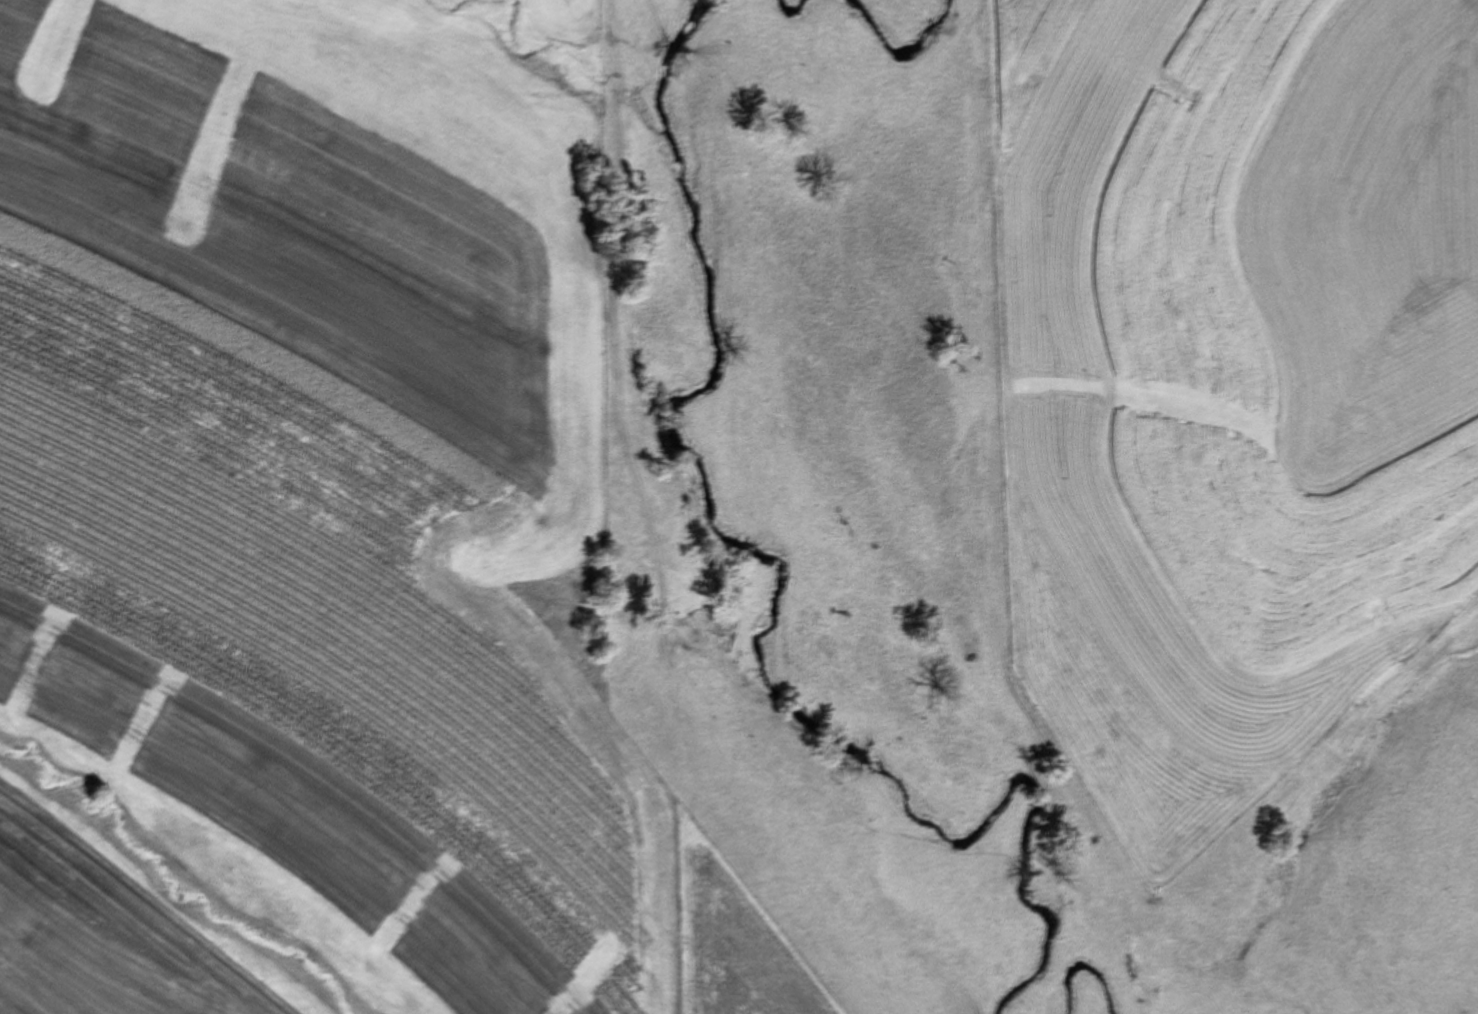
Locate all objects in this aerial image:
river: (797, 12)
river: (901, 45)
river: (778, 587)
river: (1088, 966)

